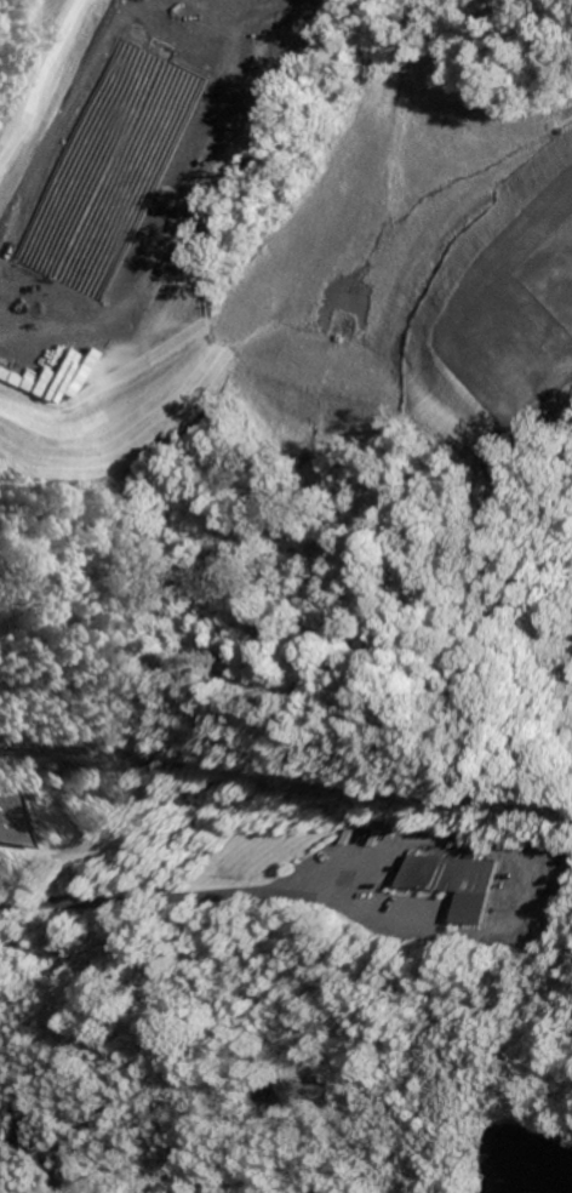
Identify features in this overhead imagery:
road: (42, 78)
building: (114, 167)
building: (548, 264)
building: (30, 814)
building: (430, 879)
road: (505, 889)
road: (154, 894)
road: (434, 1051)
park: (365, 1063)
road: (470, 1084)
road: (221, 1182)

